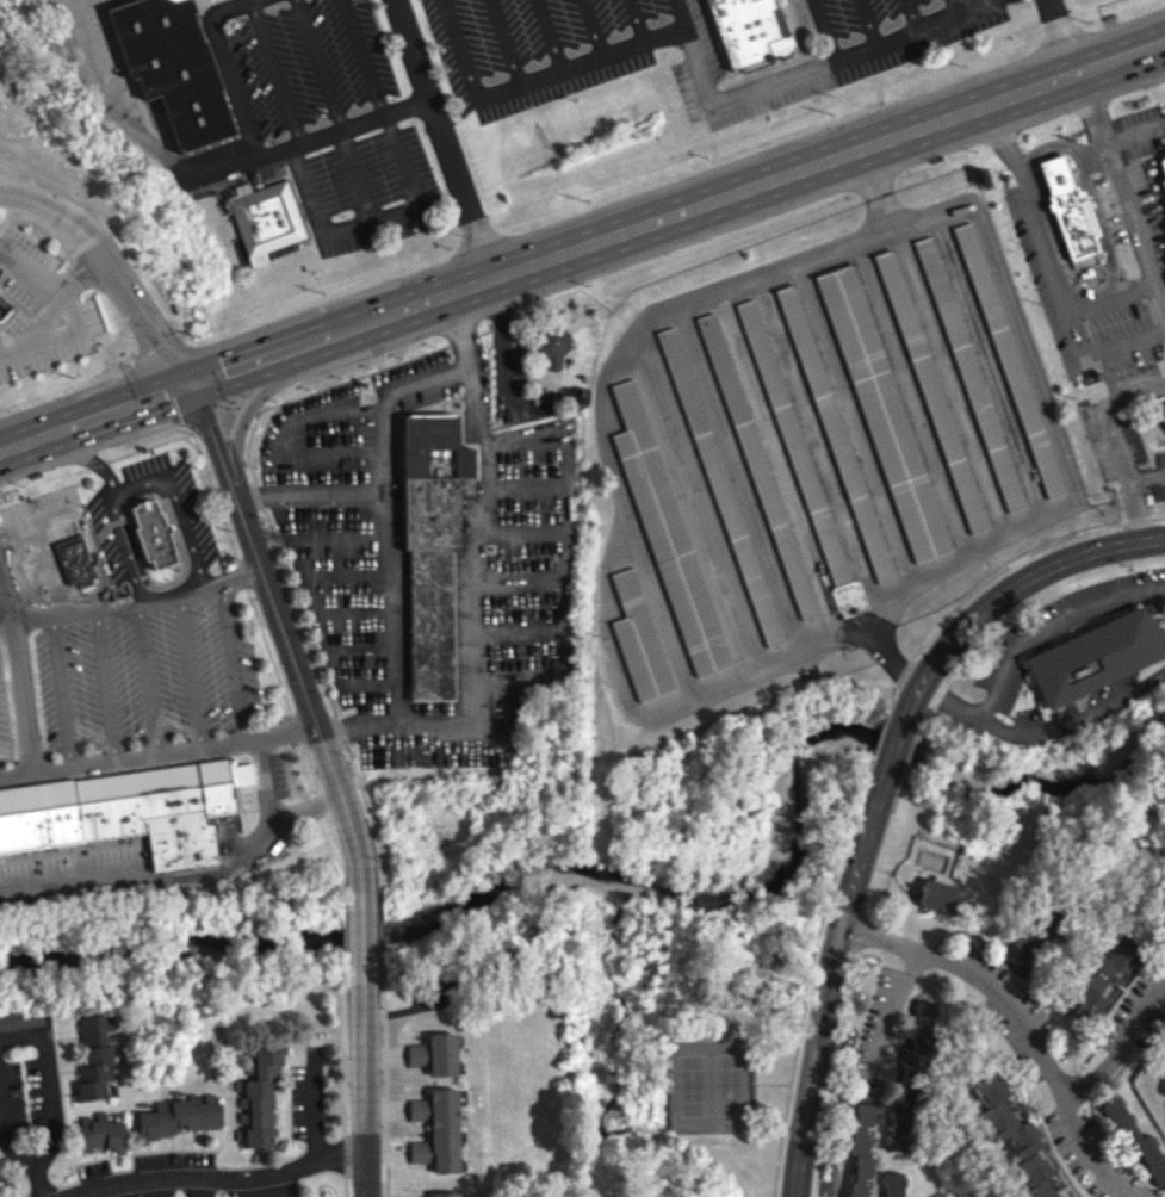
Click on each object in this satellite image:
road: (83, 2)
road: (953, 6)
road: (682, 14)
road: (911, 14)
road: (637, 21)
road: (868, 23)
road: (593, 29)
building: (750, 29)
road: (824, 30)
road: (1065, 36)
road: (549, 37)
parking lot: (86, 42)
road: (507, 43)
parking lot: (687, 46)
road: (463, 50)
road: (362, 56)
parking lot: (296, 62)
road: (318, 63)
building: (172, 67)
road: (225, 68)
road: (275, 70)
road: (712, 98)
road: (110, 106)
road: (311, 136)
road: (1135, 136)
road: (441, 138)
building: (1163, 162)
parking lot: (266, 170)
road: (354, 176)
building: (1164, 181)
road: (874, 188)
parking lot: (367, 191)
road: (1122, 191)
road: (725, 196)
road: (1031, 204)
road: (51, 205)
road: (1095, 206)
building: (1071, 210)
building: (266, 218)
parking lot: (1130, 222)
road: (373, 224)
road: (996, 269)
road: (82, 277)
road: (1101, 291)
road: (1111, 296)
building: (2, 308)
parking lot: (39, 310)
road: (142, 312)
building: (1, 317)
road: (73, 318)
road: (1076, 331)
road: (1123, 340)
building: (1009, 360)
road: (237, 367)
road: (987, 367)
building: (968, 372)
road: (948, 383)
traffic signals: (191, 384)
building: (930, 391)
road: (912, 401)
road: (347, 407)
building: (1161, 407)
road: (246, 413)
road: (104, 414)
building: (884, 414)
road: (1109, 414)
road: (855, 433)
road: (210, 434)
building: (835, 435)
building: (793, 442)
road: (153, 444)
road: (8, 446)
road: (75, 451)
road: (318, 451)
road: (775, 461)
road: (95, 464)
building: (757, 465)
road: (80, 469)
road: (740, 476)
road: (137, 482)
road: (521, 484)
building: (720, 486)
road: (1133, 492)
road: (264, 495)
road: (696, 495)
road: (347, 496)
road: (213, 497)
parking lot: (174, 501)
road: (463, 502)
road: (429, 504)
road: (1157, 516)
road: (1136, 520)
road: (38, 521)
building: (167, 527)
parking lot: (42, 529)
road: (518, 531)
building: (151, 534)
building: (667, 535)
road: (335, 537)
building: (430, 541)
road: (397, 556)
road: (565, 556)
parking lot: (426, 557)
road: (184, 558)
building: (74, 560)
road: (48, 568)
road: (241, 575)
road: (470, 576)
road: (347, 578)
road: (518, 579)
road: (978, 585)
road: (1005, 591)
road: (68, 596)
building: (848, 597)
road: (134, 606)
road: (354, 616)
road: (1048, 627)
road: (519, 632)
building: (639, 639)
road: (267, 651)
building: (1093, 655)
road: (364, 658)
road: (231, 660)
road: (191, 670)
parking lot: (145, 675)
road: (147, 678)
road: (18, 680)
road: (104, 684)
road: (63, 690)
road: (304, 693)
road: (368, 695)
road: (693, 695)
parking lot: (4, 727)
road: (293, 727)
road: (1043, 730)
road: (880, 731)
road: (157, 751)
road: (890, 756)
road: (872, 759)
building: (126, 810)
road: (266, 814)
parking lot: (68, 874)
road: (149, 877)
building: (937, 893)
road: (818, 924)
road: (361, 931)
building: (1034, 932)
building: (1101, 976)
road: (826, 990)
road: (890, 1011)
building: (20, 1018)
road: (1015, 1023)
road: (1121, 1048)
building: (94, 1053)
building: (434, 1054)
road: (364, 1075)
building: (910, 1079)
road: (48, 1084)
park: (708, 1084)
road: (769, 1084)
building: (258, 1098)
road: (315, 1104)
building: (179, 1116)
building: (436, 1129)
road: (880, 1133)
building: (99, 1134)
road: (7, 1135)
building: (1014, 1135)
road: (779, 1140)
building: (1139, 1143)
building: (862, 1151)
road: (221, 1180)
road: (38, 1183)
building: (893, 1184)
building: (1070, 1196)

